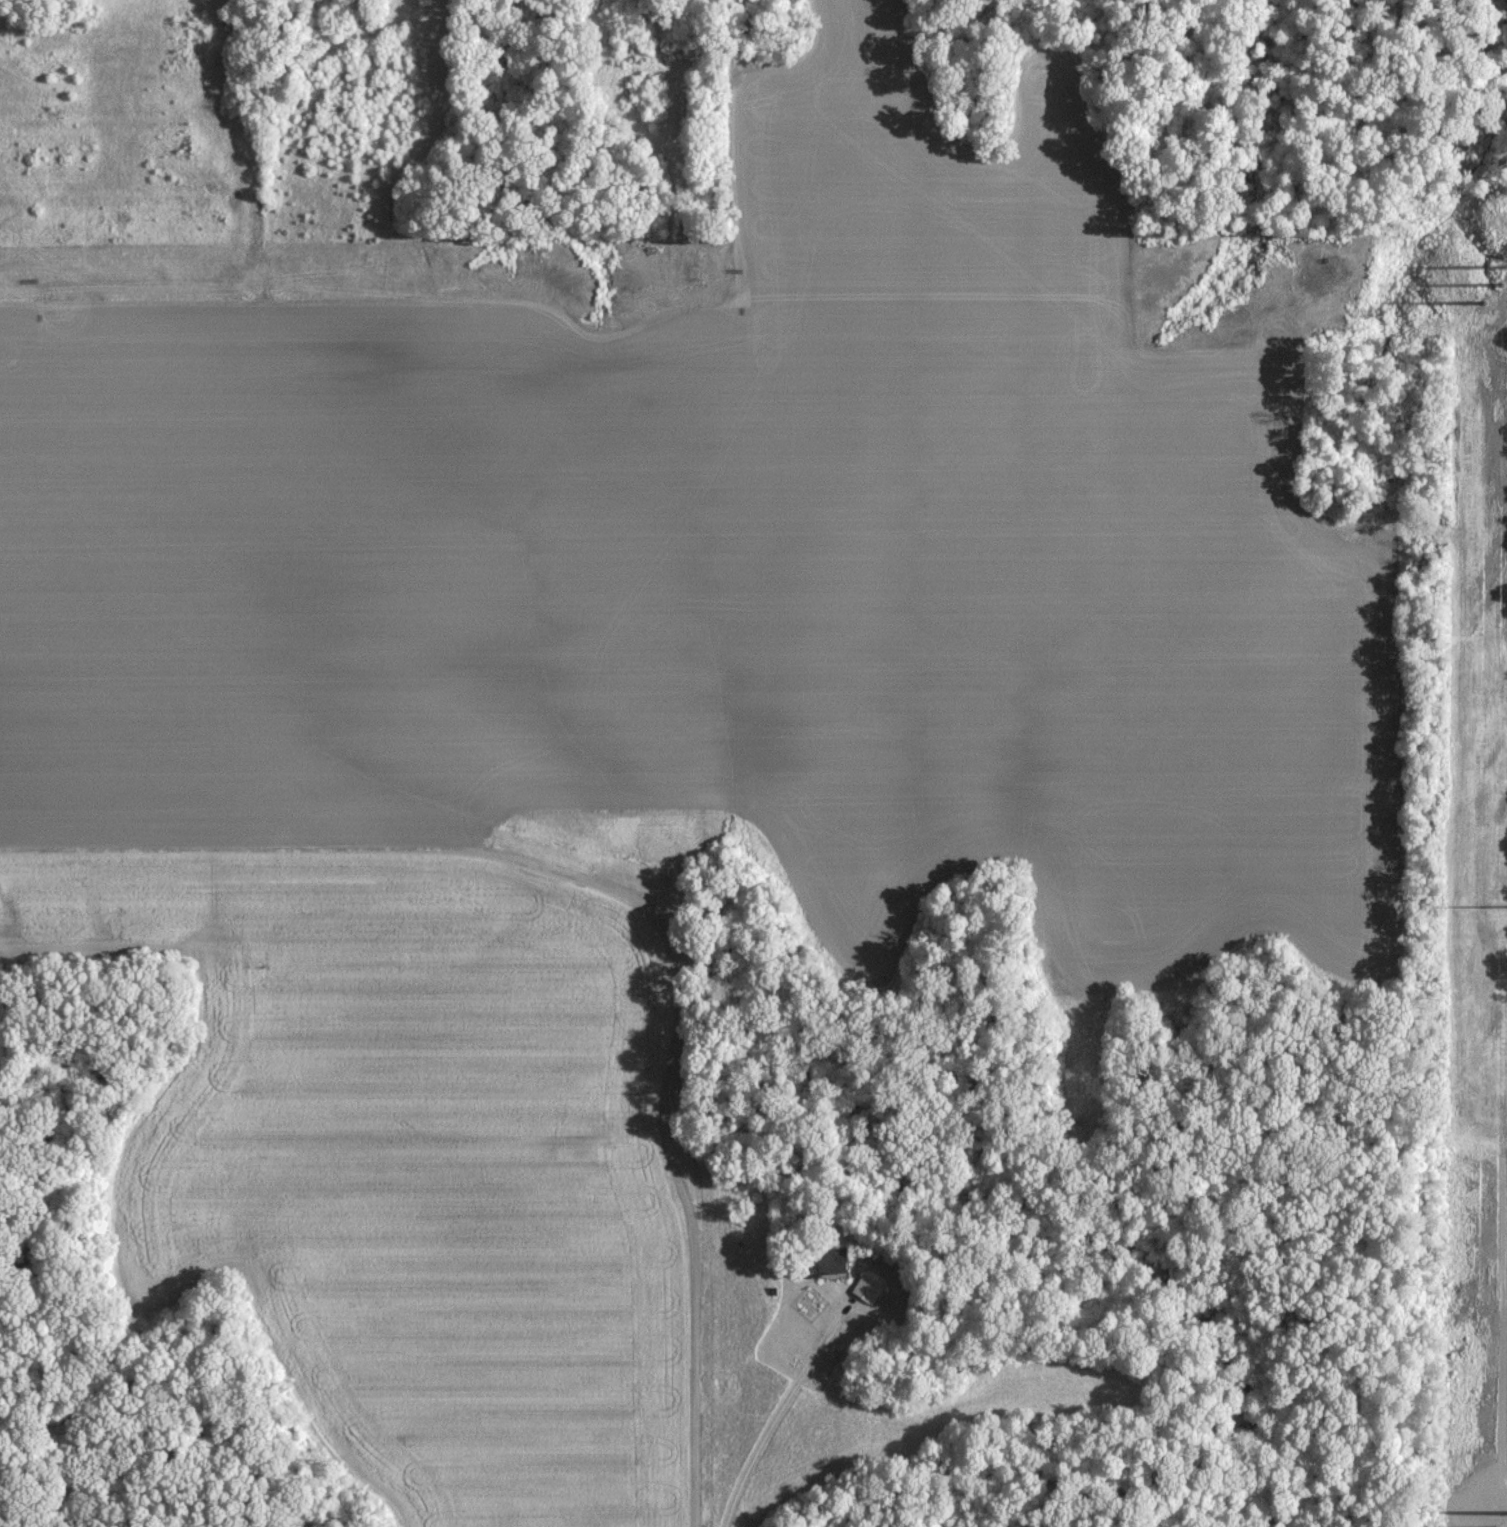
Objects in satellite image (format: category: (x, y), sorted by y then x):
power tower: (1504, 283)
power tower: (750, 291)
power tower: (44, 292)
power tower: (1499, 909)
building: (836, 1266)
building: (869, 1287)
road: (776, 1418)

